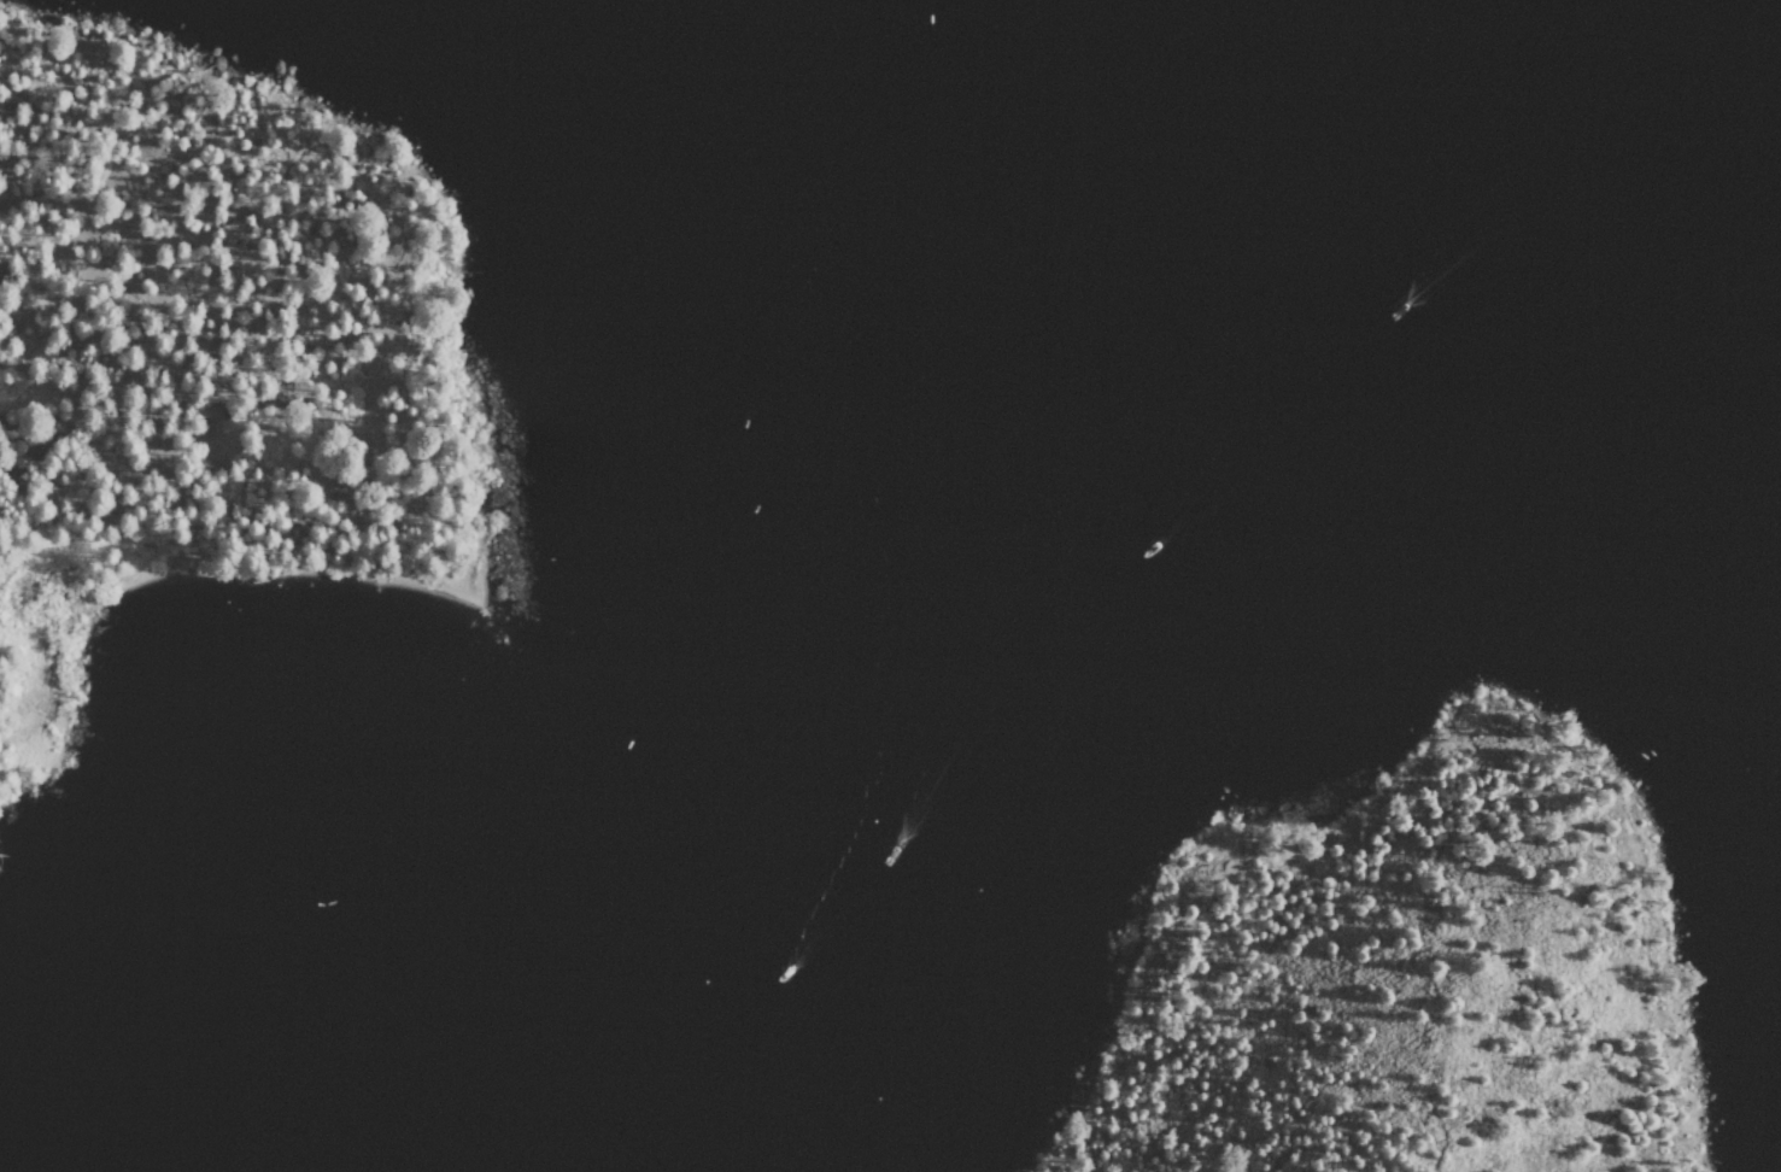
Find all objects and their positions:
road: (1434, 1131)

